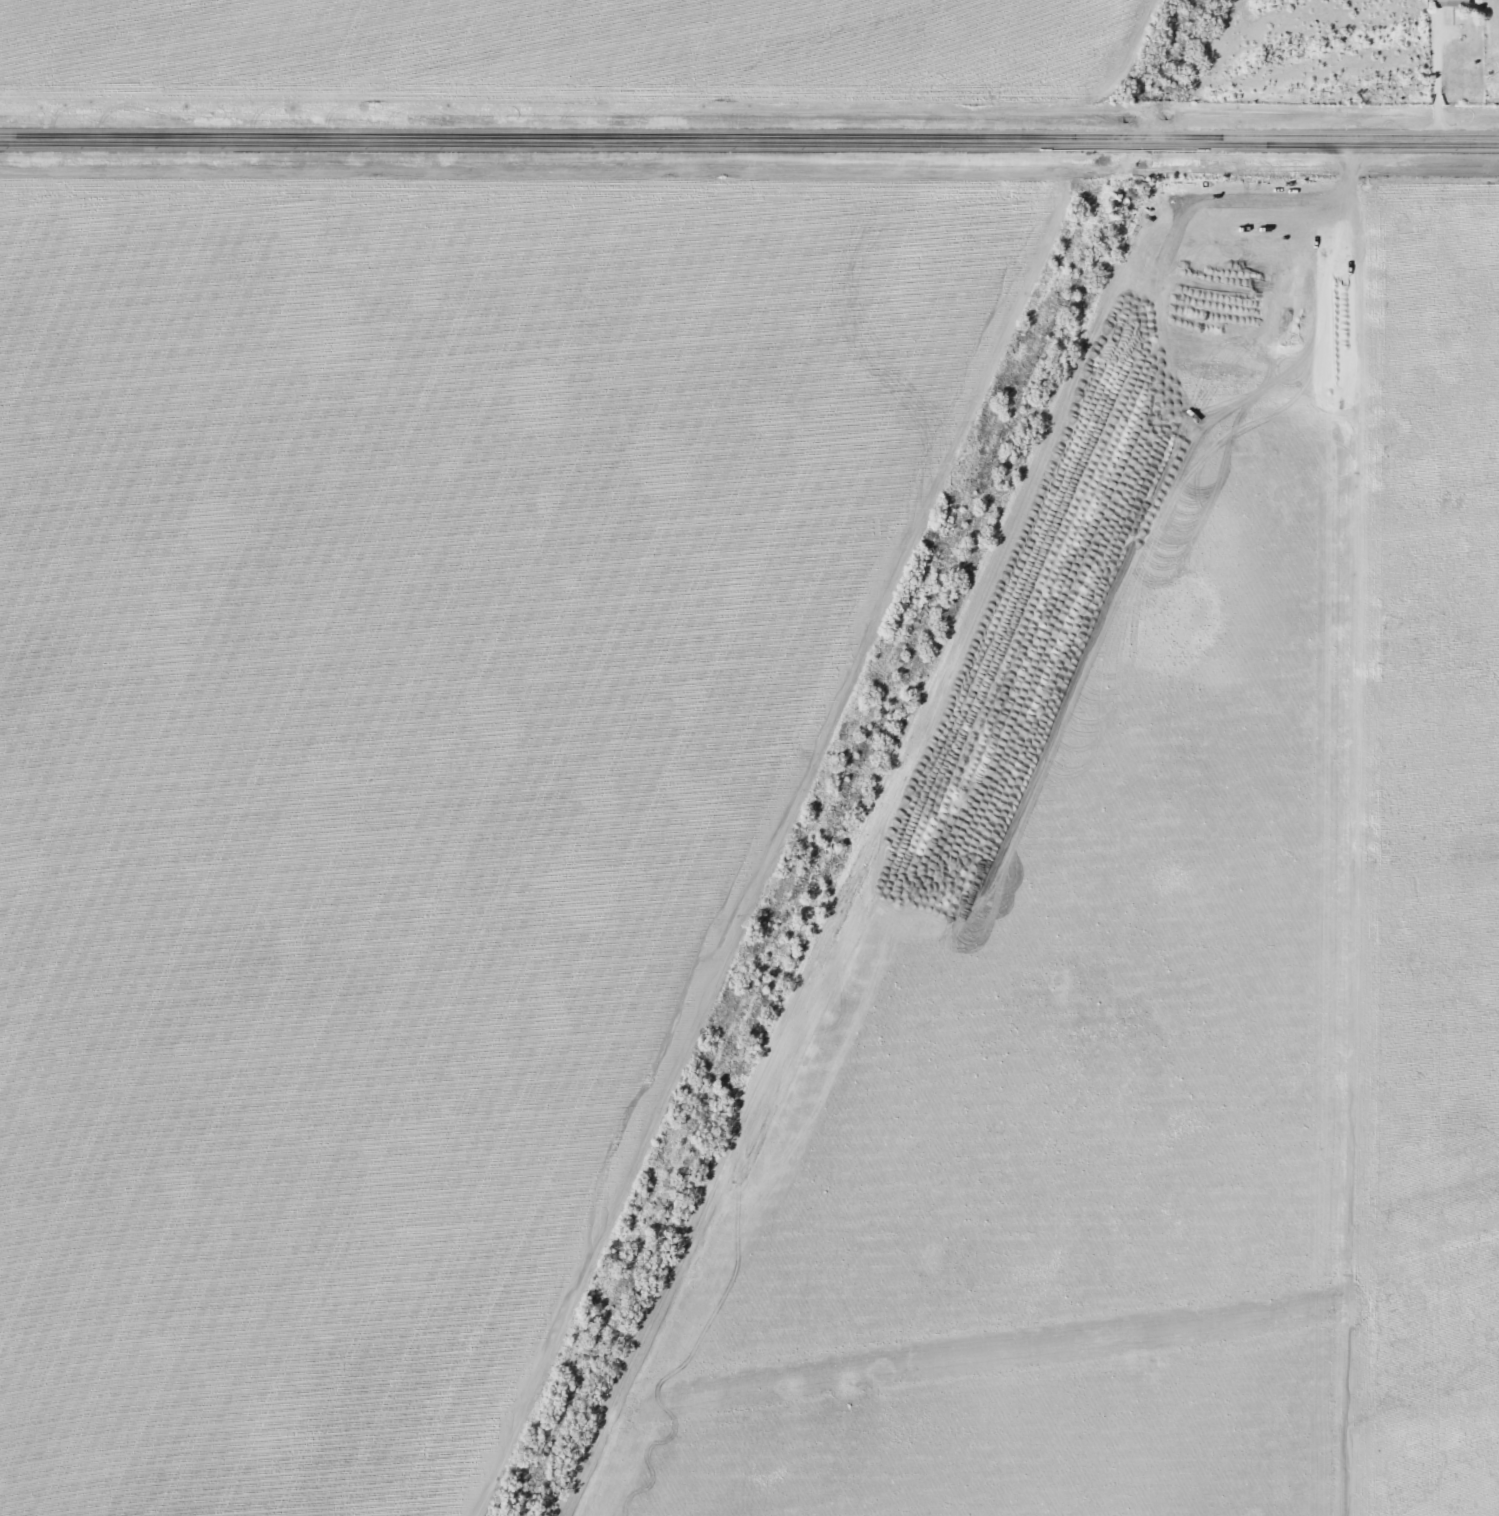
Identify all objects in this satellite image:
building: (1450, 3)
road: (749, 141)
railway: (744, 1009)

